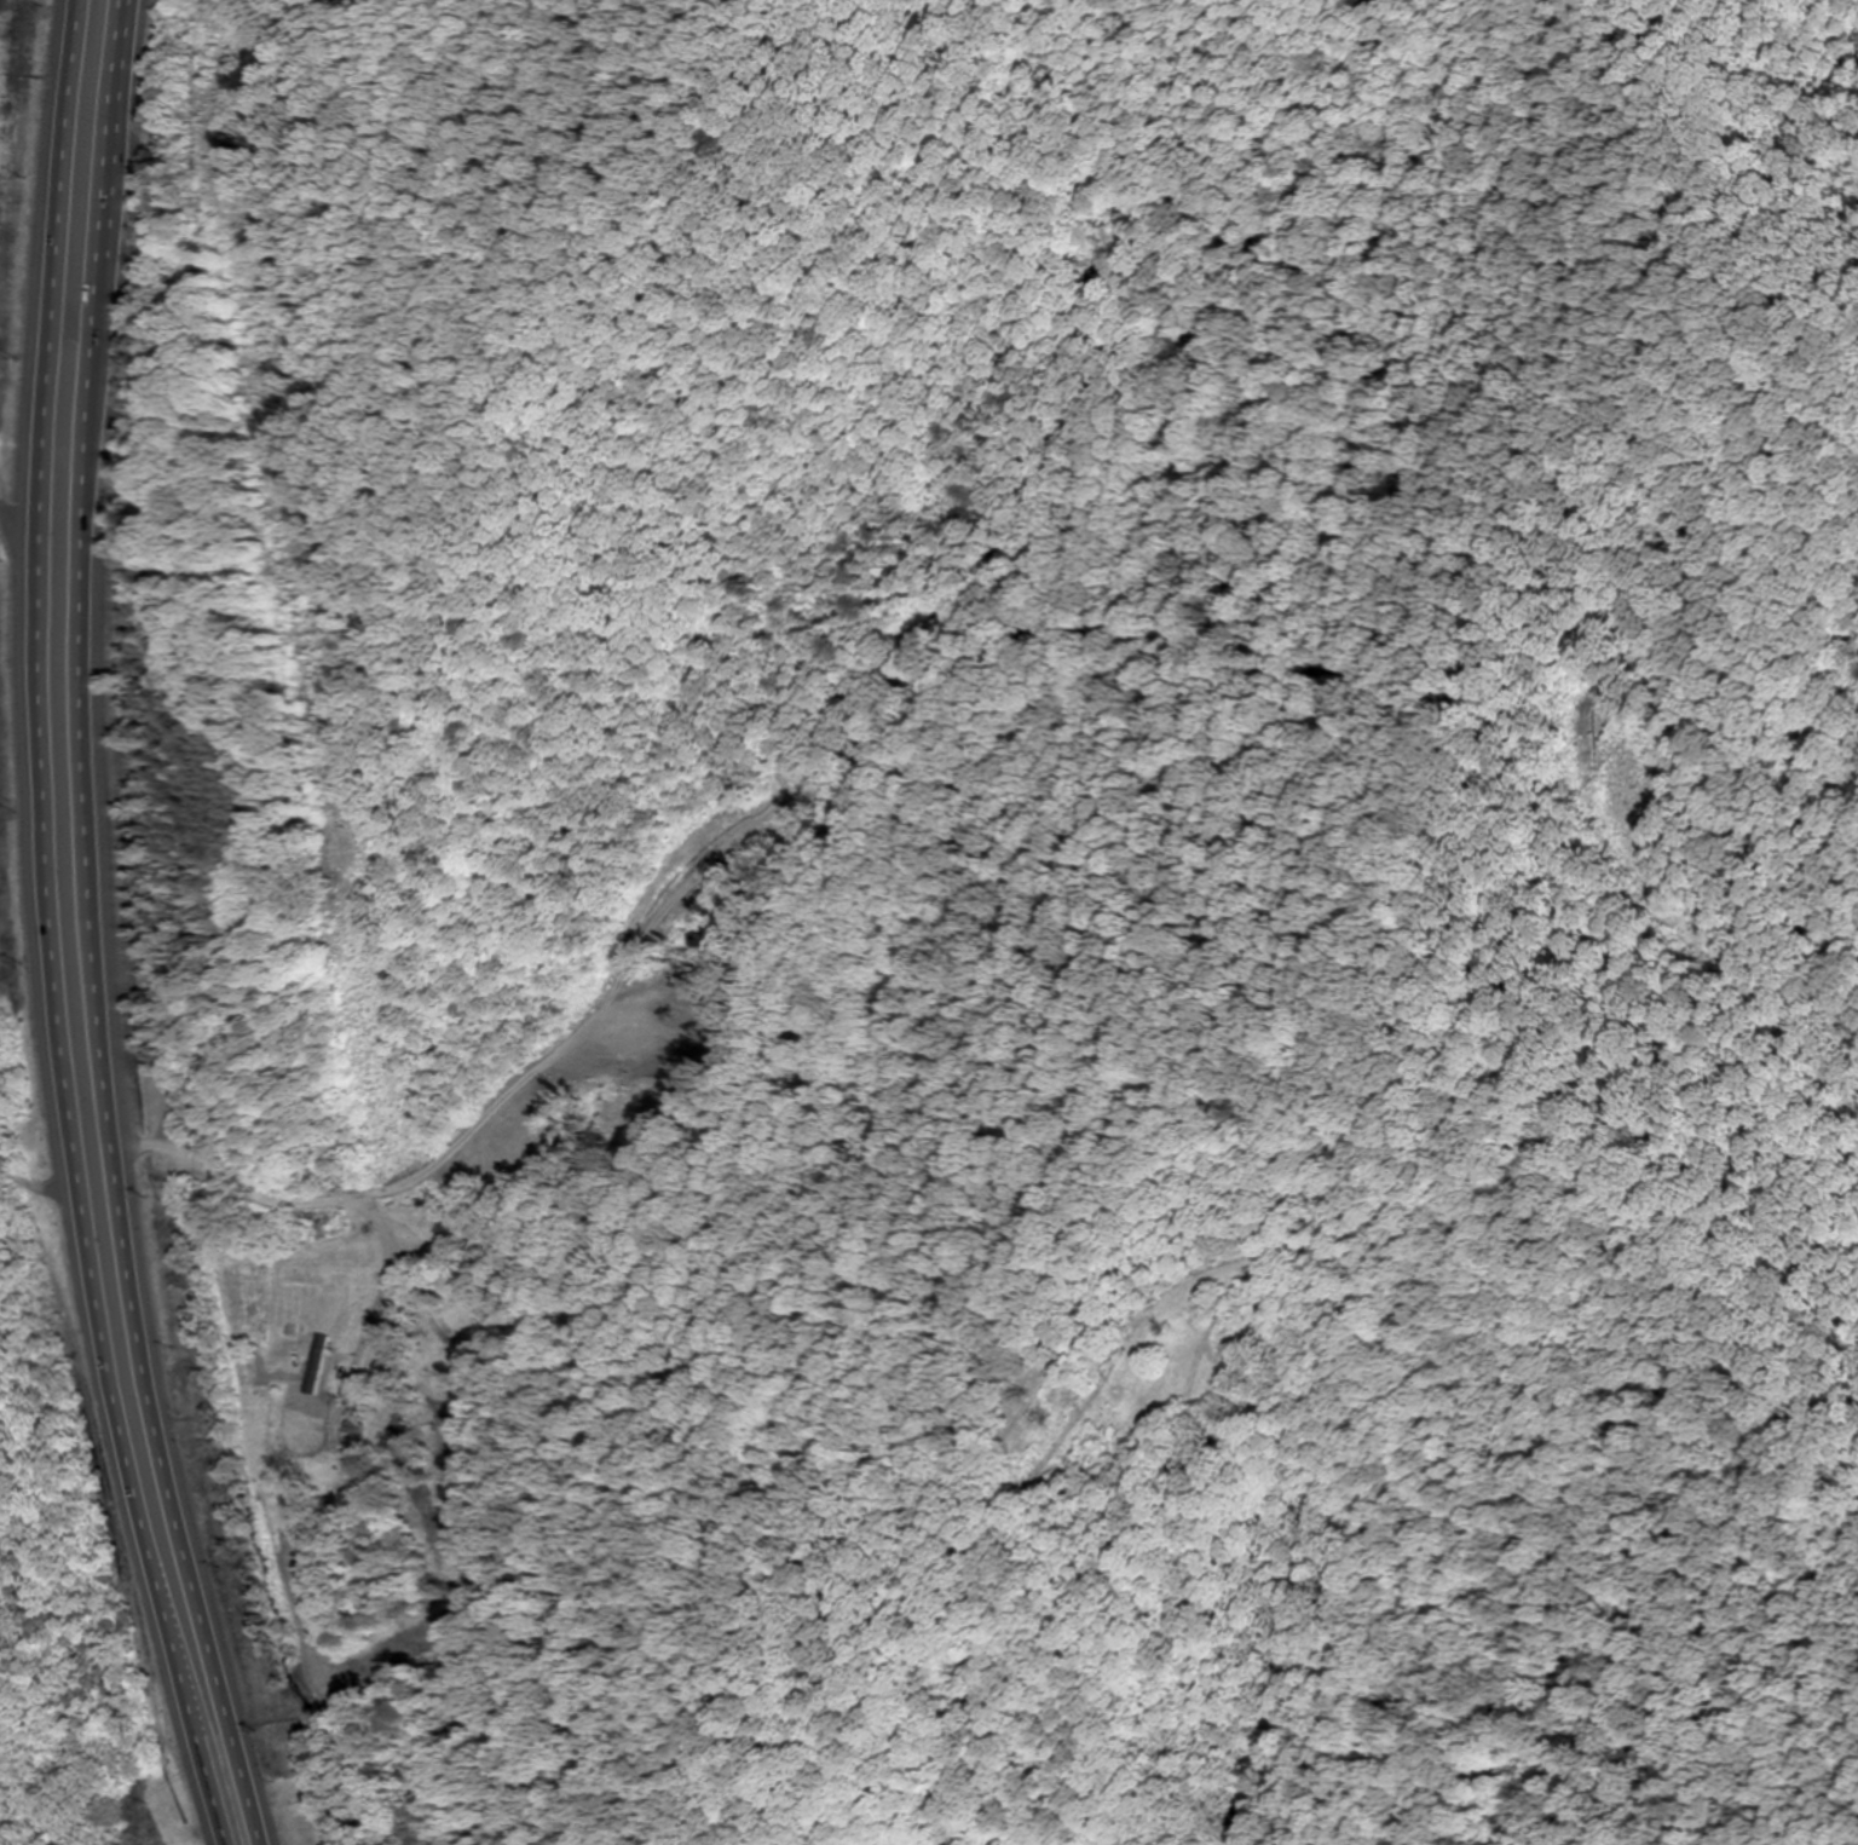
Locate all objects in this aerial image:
road: (10, 507)
road: (46, 930)
road: (91, 930)
road: (189, 1193)
road: (30, 1253)
building: (351, 1425)

